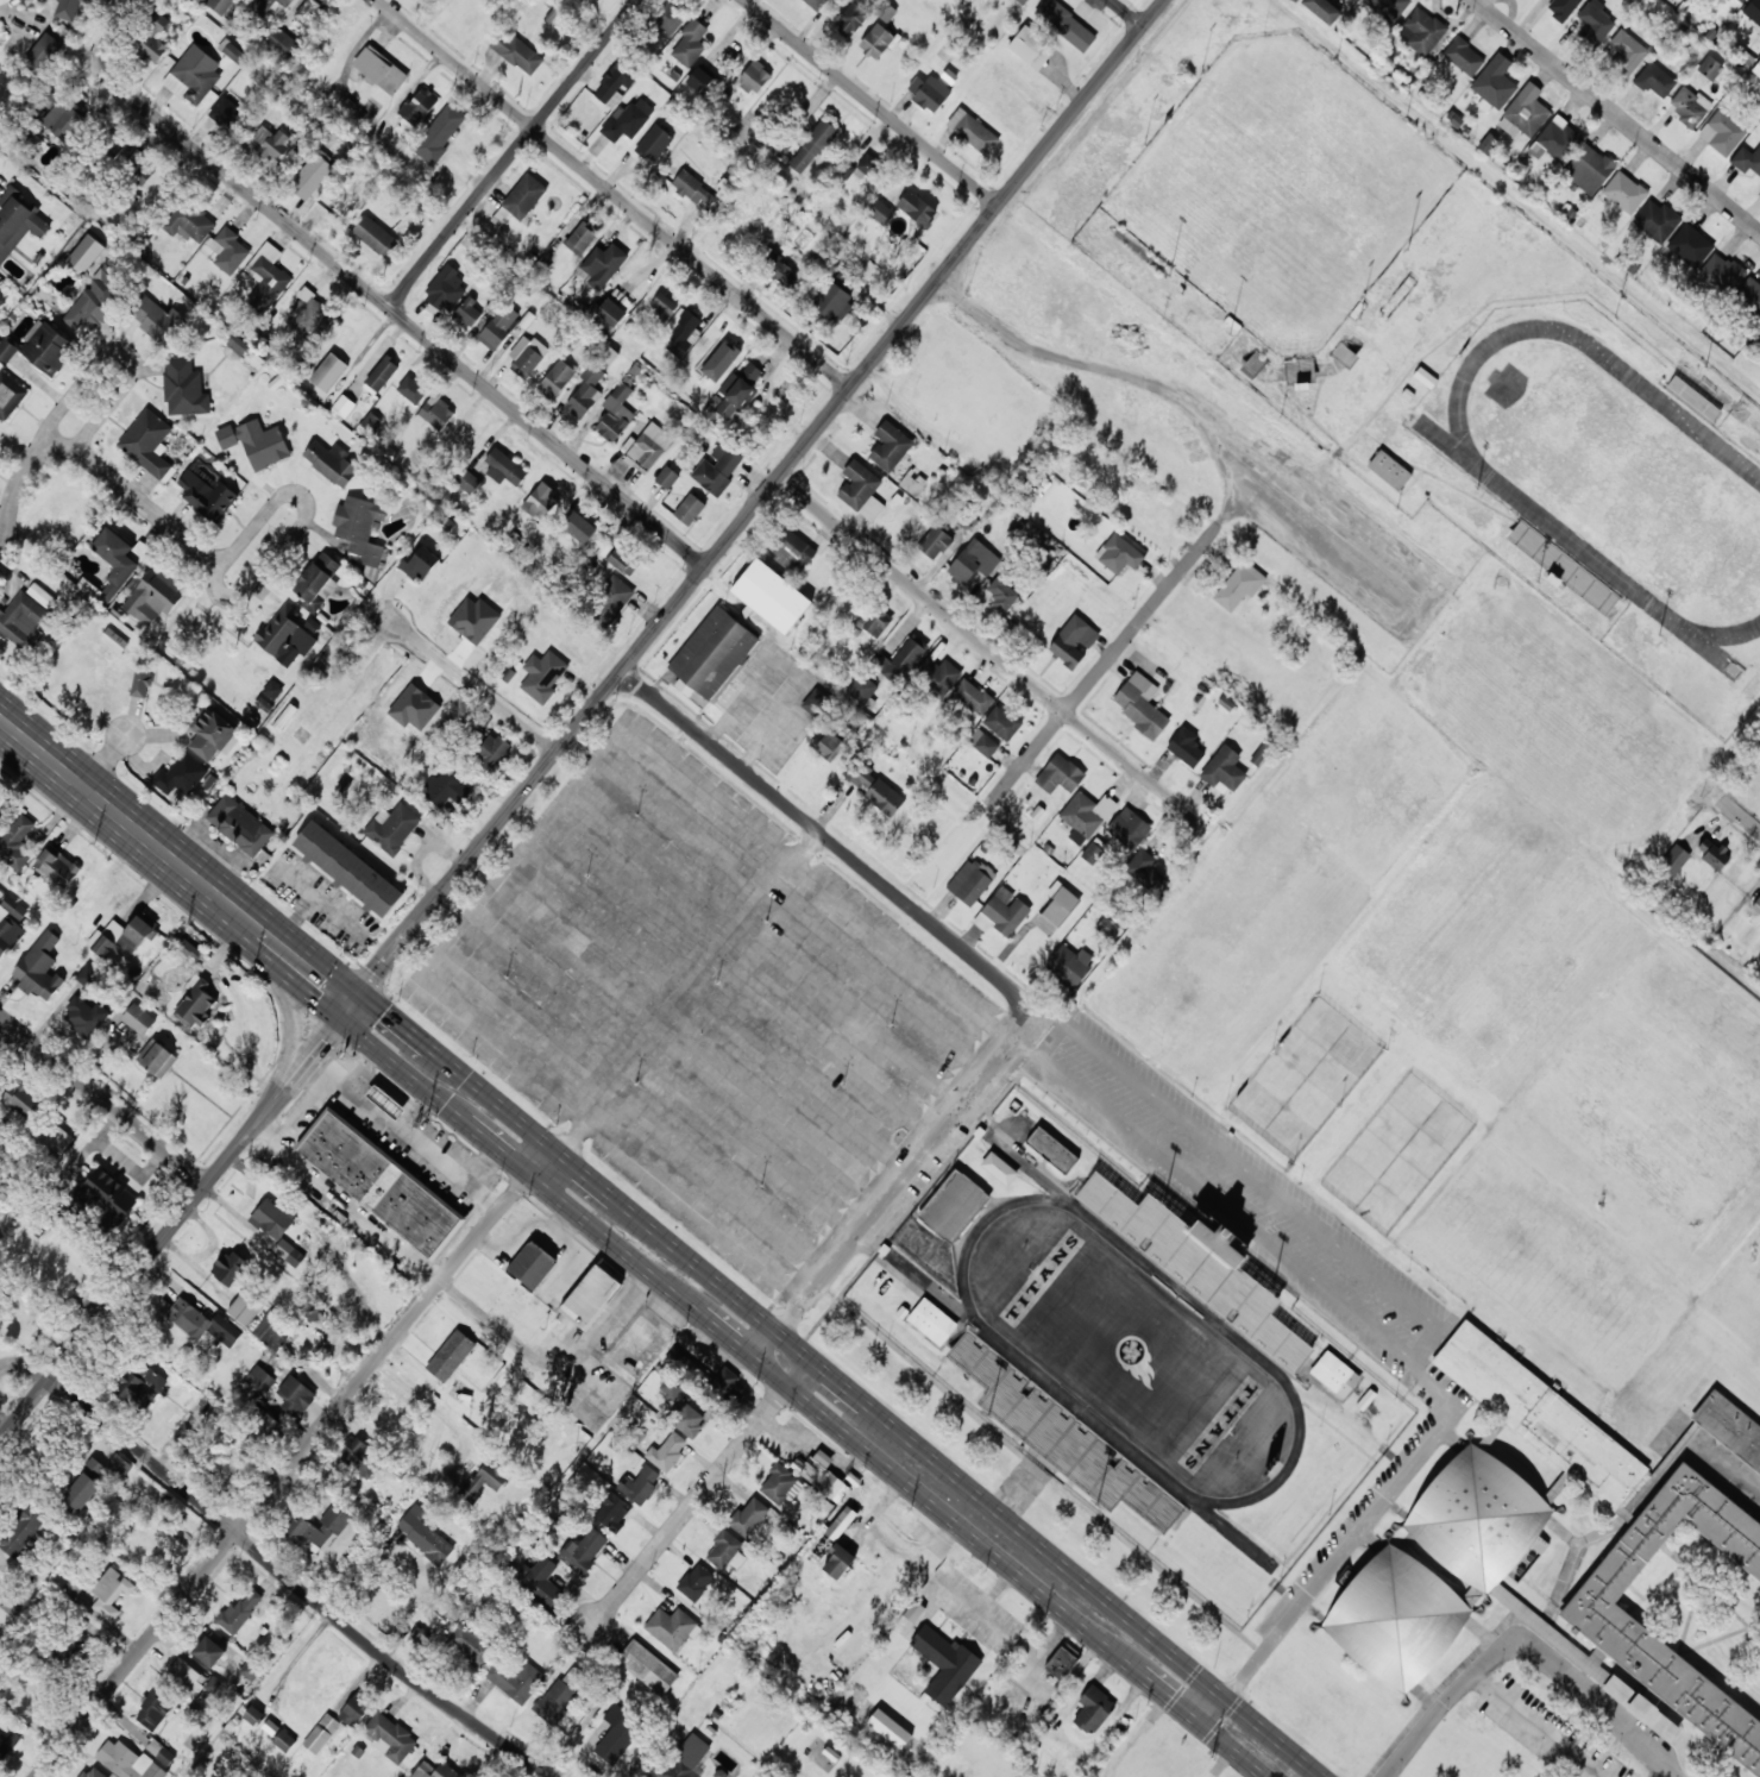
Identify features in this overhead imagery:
building: (202, 0)
building: (1741, 0)
building: (1023, 1)
building: (816, 4)
building: (220, 5)
building: (268, 5)
building: (1388, 8)
building: (1563, 8)
building: (71, 10)
building: (1322, 10)
building: (886, 12)
road: (1130, 12)
building: (1753, 12)
building: (310, 13)
building: (668, 17)
building: (853, 17)
building: (1596, 21)
building: (1066, 24)
building: (1421, 31)
road: (108, 38)
building: (153, 38)
building: (876, 42)
building: (690, 43)
building: (282, 44)
building: (1031, 48)
building: (43, 52)
building: (516, 52)
building: (1626, 52)
building: (1463, 57)
building: (1710, 68)
building: (1756, 69)
building: (379, 70)
building: (193, 75)
building: (754, 77)
building: (702, 81)
building: (1655, 81)
building: (616, 82)
building: (1492, 88)
building: (929, 93)
road: (873, 102)
building: (417, 106)
building: (1689, 106)
building: (226, 111)
road: (1617, 115)
building: (1522, 117)
building: (63, 119)
building: (627, 120)
building: (973, 131)
building: (439, 133)
building: (1722, 133)
building: (1559, 139)
building: (271, 143)
building: (654, 143)
building: (812, 146)
building: (115, 147)
road: (513, 153)
building: (1747, 159)
building: (868, 164)
building: (1589, 169)
building: (844, 170)
building: (139, 171)
building: (313, 171)
building: (693, 189)
road: (616, 193)
building: (1624, 193)
building: (1759, 193)
building: (524, 197)
building: (917, 208)
building: (881, 212)
building: (1655, 221)
building: (18, 222)
building: (189, 222)
building: (375, 236)
building: (580, 239)
building: (1690, 246)
building: (228, 250)
building: (86, 255)
building: (603, 265)
building: (781, 271)
building: (1721, 274)
building: (266, 277)
building: (446, 289)
building: (1, 296)
building: (1749, 296)
building: (98, 299)
building: (832, 302)
building: (662, 307)
building: (615, 308)
building: (467, 312)
building: (310, 315)
building: (156, 318)
road: (411, 325)
building: (498, 327)
building: (1759, 331)
building: (683, 335)
building: (715, 344)
building: (237, 345)
building: (48, 349)
building: (7, 350)
road: (114, 357)
building: (328, 372)
building: (382, 373)
building: (557, 379)
building: (184, 388)
building: (411, 390)
building: (585, 393)
building: (738, 393)
building: (10, 395)
building: (342, 408)
building: (436, 413)
building: (616, 414)
building: (371, 422)
building: (226, 437)
building: (263, 445)
building: (890, 446)
building: (648, 447)
building: (331, 463)
building: (504, 467)
building: (717, 467)
building: (1387, 467)
building: (667, 477)
track: (1611, 477)
building: (467, 482)
building: (861, 490)
building: (208, 497)
road: (142, 501)
building: (541, 501)
road: (758, 502)
building: (690, 509)
building: (578, 527)
building: (360, 528)
building: (935, 542)
road: (1198, 550)
road: (279, 551)
building: (792, 551)
building: (1119, 554)
building: (623, 561)
building: (114, 563)
building: (420, 564)
building: (1560, 564)
road: (216, 582)
building: (318, 582)
building: (1239, 585)
building: (766, 591)
building: (1002, 592)
building: (153, 597)
building: (609, 604)
building: (25, 614)
building: (875, 622)
building: (285, 633)
building: (114, 640)
building: (1074, 641)
road: (985, 645)
building: (714, 653)
building: (899, 660)
building: (939, 674)
building: (542, 676)
building: (142, 680)
building: (684, 687)
building: (862, 689)
building: (973, 696)
building: (816, 703)
building: (1140, 704)
road: (478, 711)
building: (1002, 723)
building: (210, 735)
building: (982, 743)
building: (828, 745)
building: (1186, 747)
building: (494, 751)
road: (105, 761)
building: (1224, 771)
building: (859, 774)
building: (1060, 774)
building: (181, 776)
building: (447, 790)
building: (885, 797)
building: (2, 799)
road: (1741, 814)
building: (1086, 816)
building: (240, 825)
building: (392, 828)
building: (1129, 828)
building: (17, 844)
building: (1094, 852)
building: (1711, 854)
building: (1674, 860)
road: (175, 861)
building: (57, 866)
building: (1145, 868)
building: (348, 869)
building: (970, 881)
building: (1756, 905)
building: (1002, 912)
building: (10, 924)
building: (1107, 927)
building: (125, 936)
building: (1759, 957)
building: (1069, 966)
building: (40, 968)
road: (1002, 980)
parking lot: (699, 1001)
building: (196, 1003)
building: (82, 1018)
building: (138, 1019)
road: (5, 1031)
building: (157, 1059)
building: (24, 1099)
road: (102, 1100)
building: (386, 1101)
building: (1052, 1150)
building: (999, 1168)
building: (381, 1185)
building: (109, 1197)
building: (954, 1206)
building: (272, 1218)
road: (175, 1222)
building: (289, 1252)
building: (532, 1264)
building: (230, 1268)
building: (590, 1296)
building: (932, 1321)
building: (202, 1323)
building: (270, 1331)
stadium: (1132, 1340)
park: (1131, 1343)
building: (451, 1356)
building: (1335, 1375)
building: (260, 1380)
road: (841, 1382)
building: (140, 1387)
building: (296, 1394)
road: (809, 1396)
building: (1538, 1407)
building: (687, 1420)
building: (266, 1425)
building: (1730, 1427)
building: (667, 1451)
building: (360, 1457)
road: (295, 1462)
building: (109, 1468)
building: (823, 1476)
building: (484, 1481)
building: (778, 1483)
building: (640, 1484)
road: (702, 1492)
building: (82, 1493)
building: (612, 1512)
building: (1478, 1515)
building: (749, 1517)
building: (841, 1524)
building: (24, 1527)
building: (318, 1528)
building: (423, 1534)
building: (582, 1551)
building: (725, 1551)
building: (838, 1561)
building: (540, 1581)
building: (696, 1582)
road: (297, 1583)
building: (71, 1588)
building: (111, 1593)
building: (241, 1610)
building: (1393, 1615)
building: (909, 1616)
building: (672, 1627)
building: (470, 1645)
building: (71, 1646)
building: (209, 1651)
building: (1062, 1660)
building: (935, 1663)
building: (648, 1668)
building: (250, 1670)
building: (1658, 1671)
building: (187, 1677)
building: (515, 1679)
building: (560, 1694)
building: (1094, 1709)
building: (354, 1710)
building: (153, 1712)
building: (253, 1715)
building: (321, 1733)
building: (616, 1735)
building: (390, 1738)
building: (284, 1740)
building: (8, 1745)
building: (161, 1752)
building: (683, 1760)
building: (127, 1762)
building: (435, 1770)
building: (93, 1772)
building: (111, 1776)

